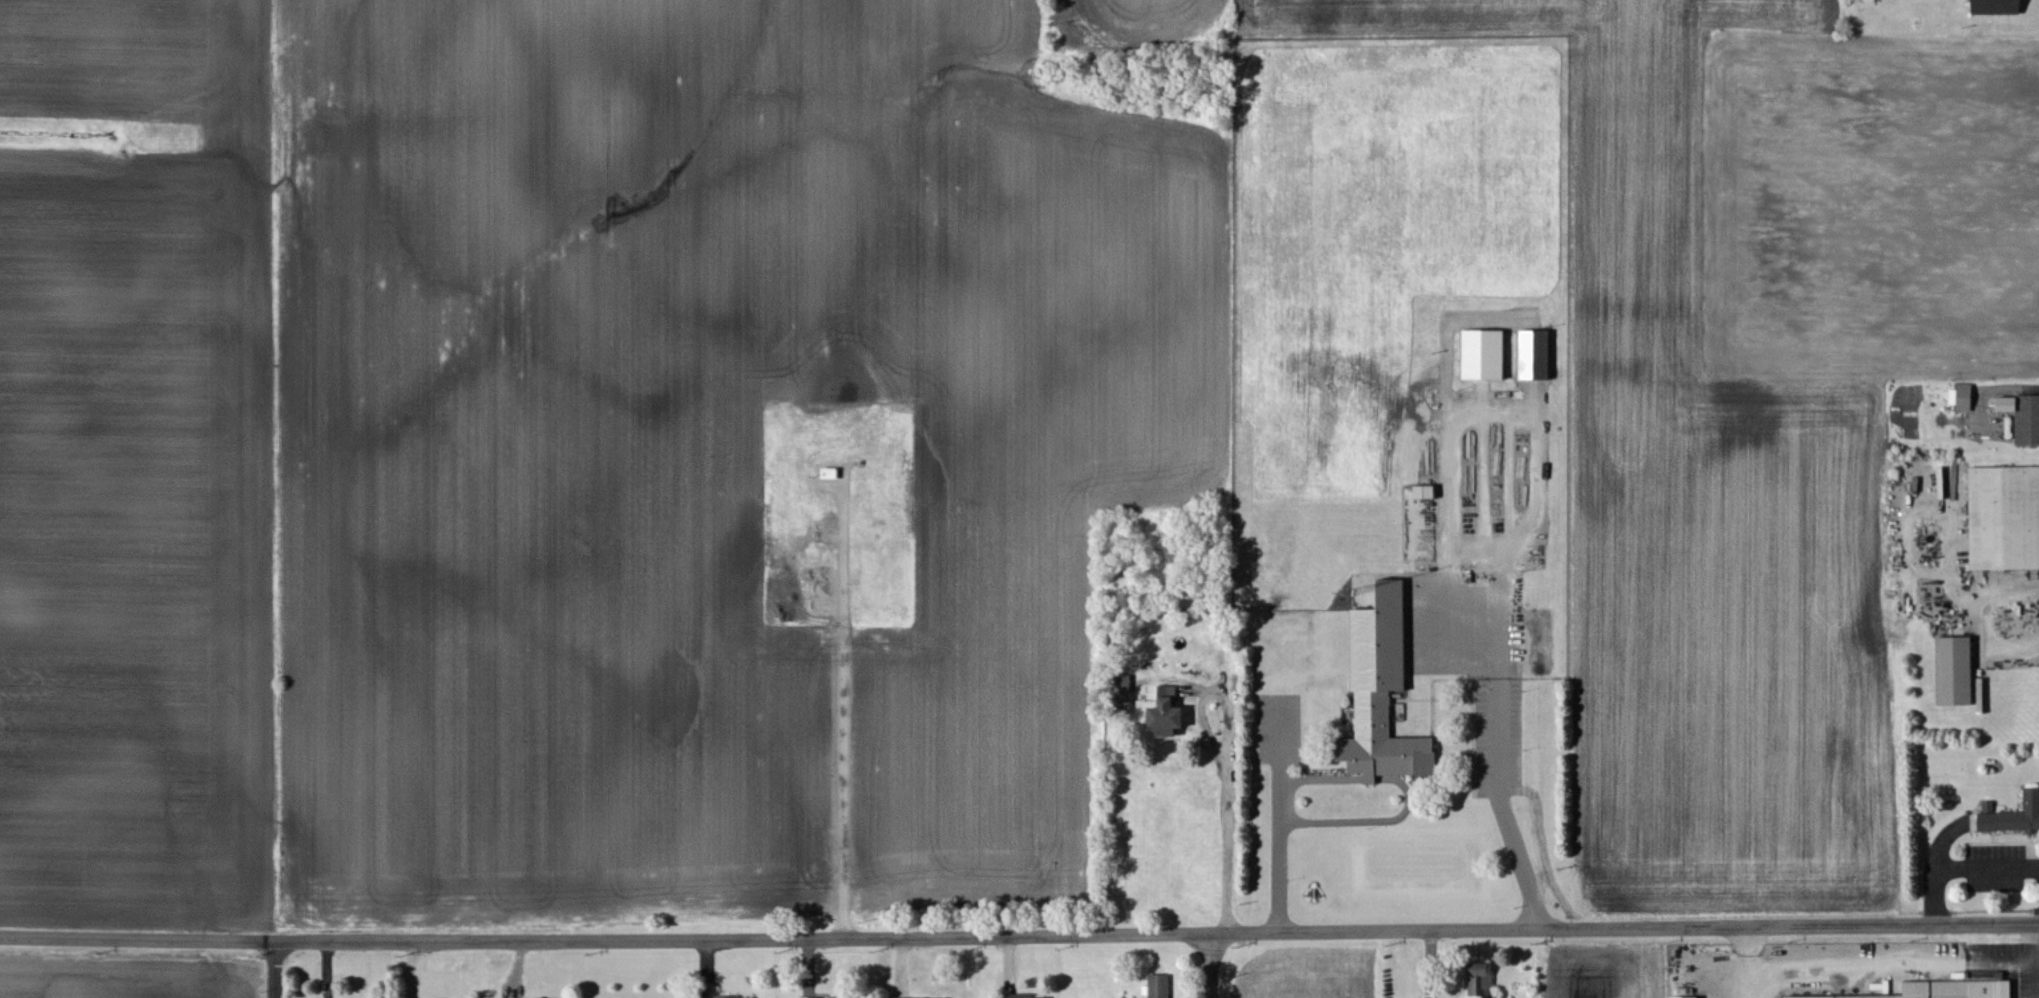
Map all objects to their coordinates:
building: (1998, 7)
building: (1486, 356)
building: (1537, 356)
building: (1966, 398)
building: (2024, 418)
building: (1426, 493)
building: (2005, 519)
building: (1957, 672)
building: (1383, 694)
building: (1168, 714)
road: (1496, 770)
road: (1227, 786)
building: (2012, 816)
road: (1281, 817)
road: (1157, 935)
road: (138, 940)
road: (1211, 966)
road: (276, 970)
building: (1481, 980)
building: (1160, 986)
building: (1946, 990)
building: (1024, 996)
building: (750, 997)
building: (1692, 997)

